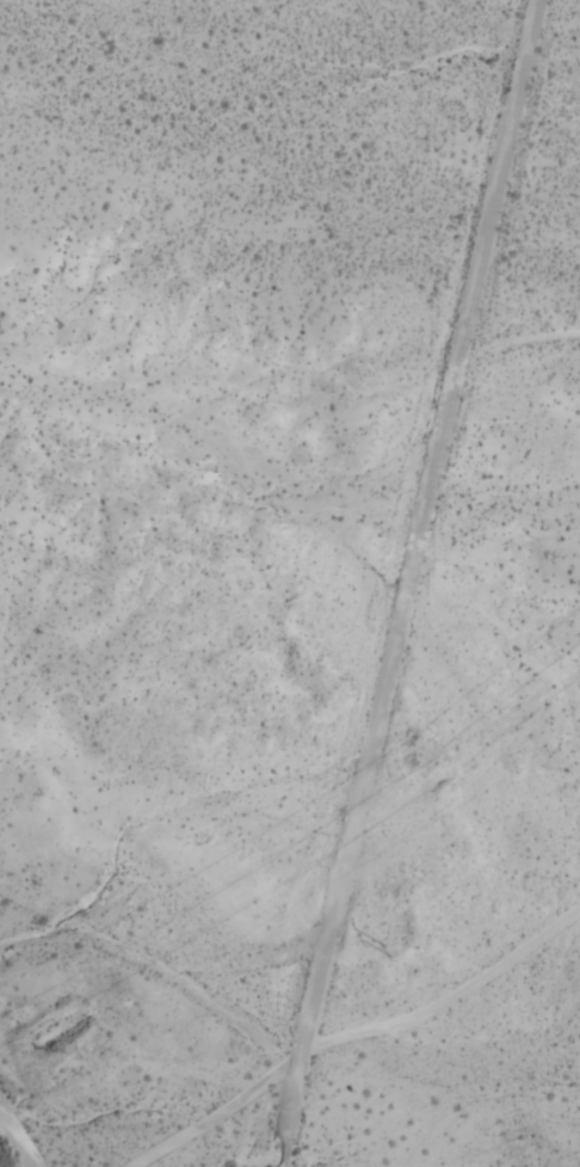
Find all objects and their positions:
road: (411, 585)
power tower: (383, 947)

